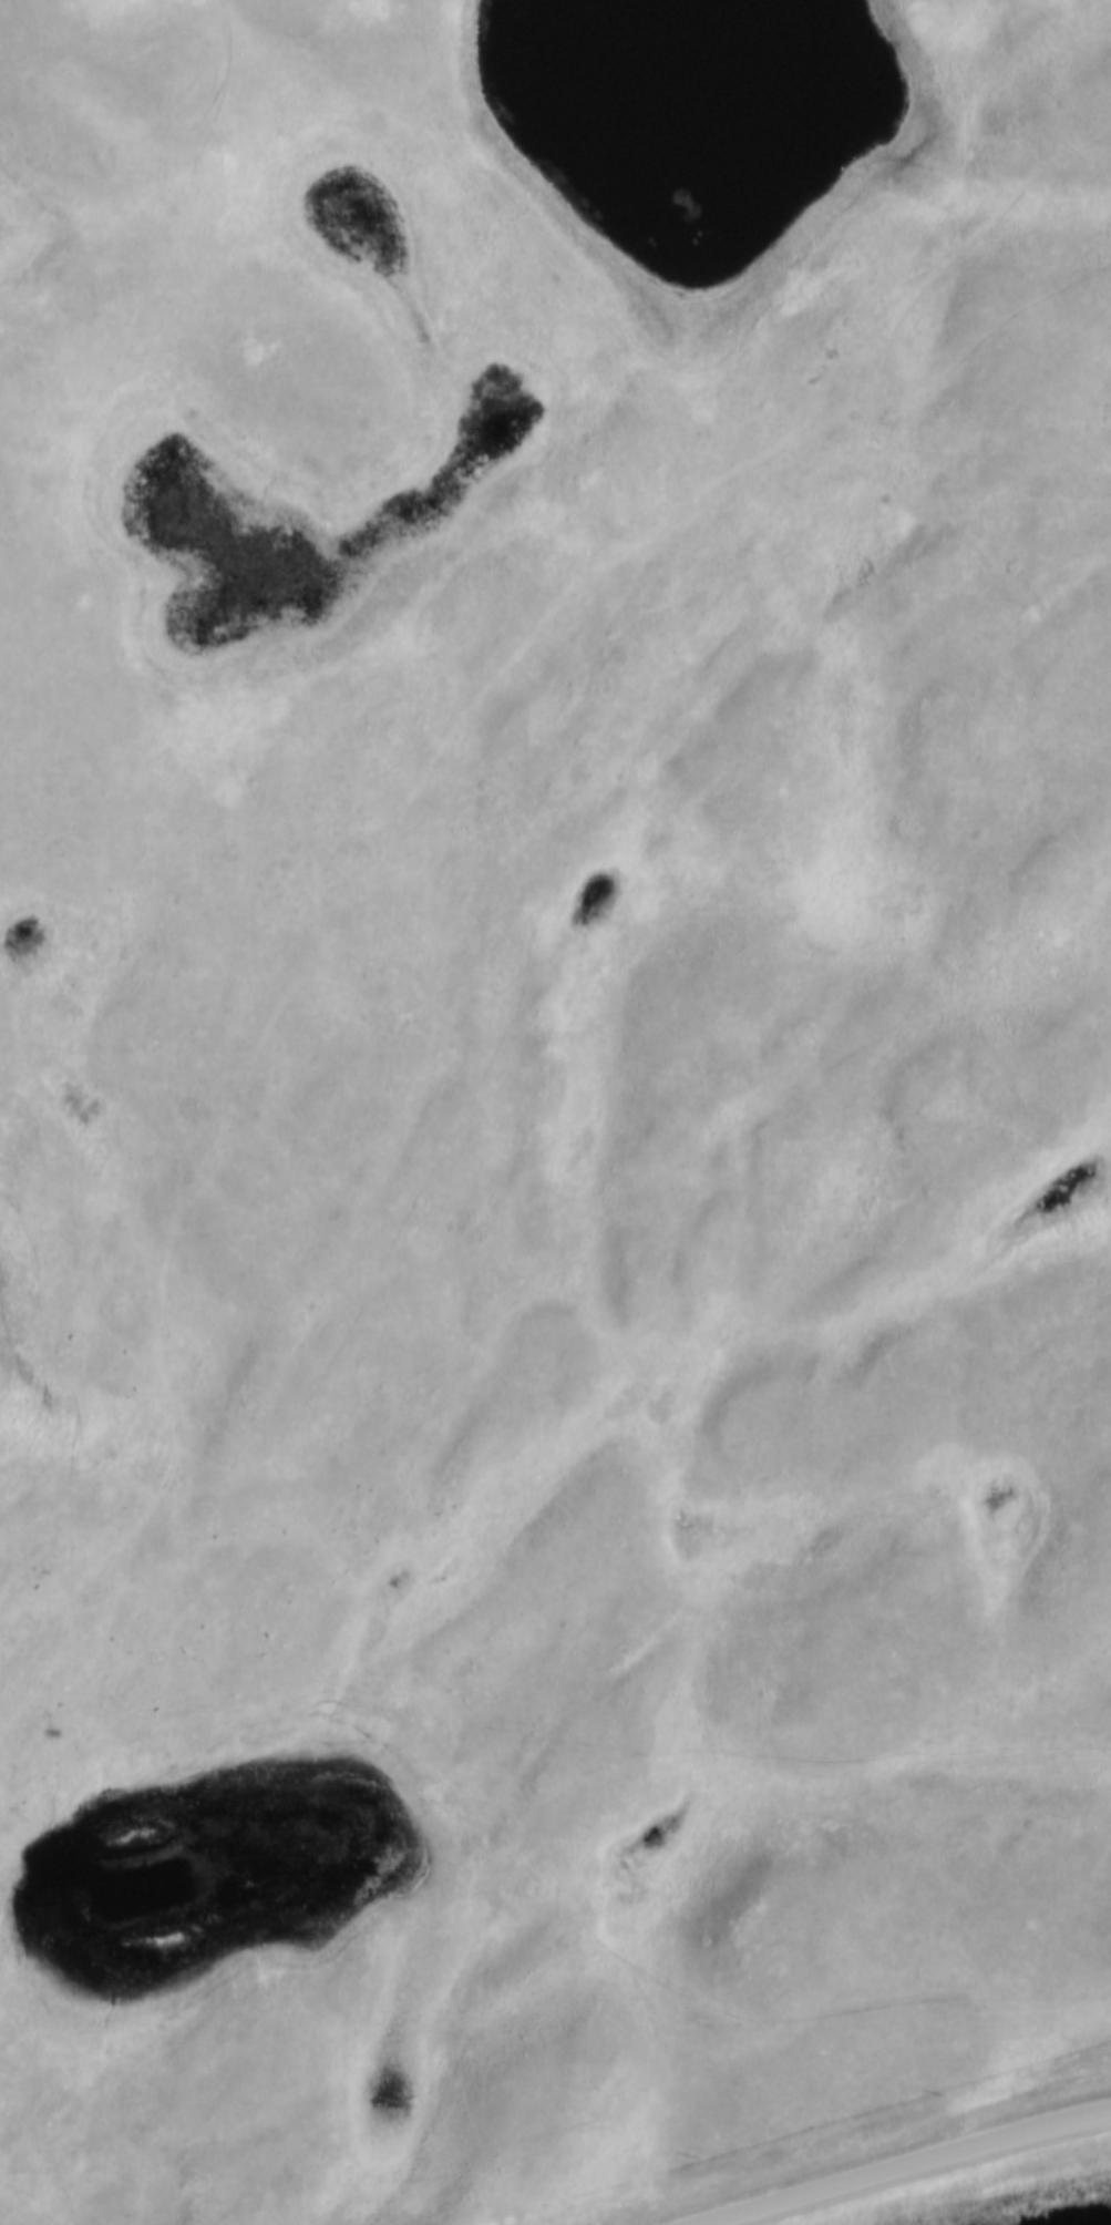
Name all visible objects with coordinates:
road: (914, 2168)

